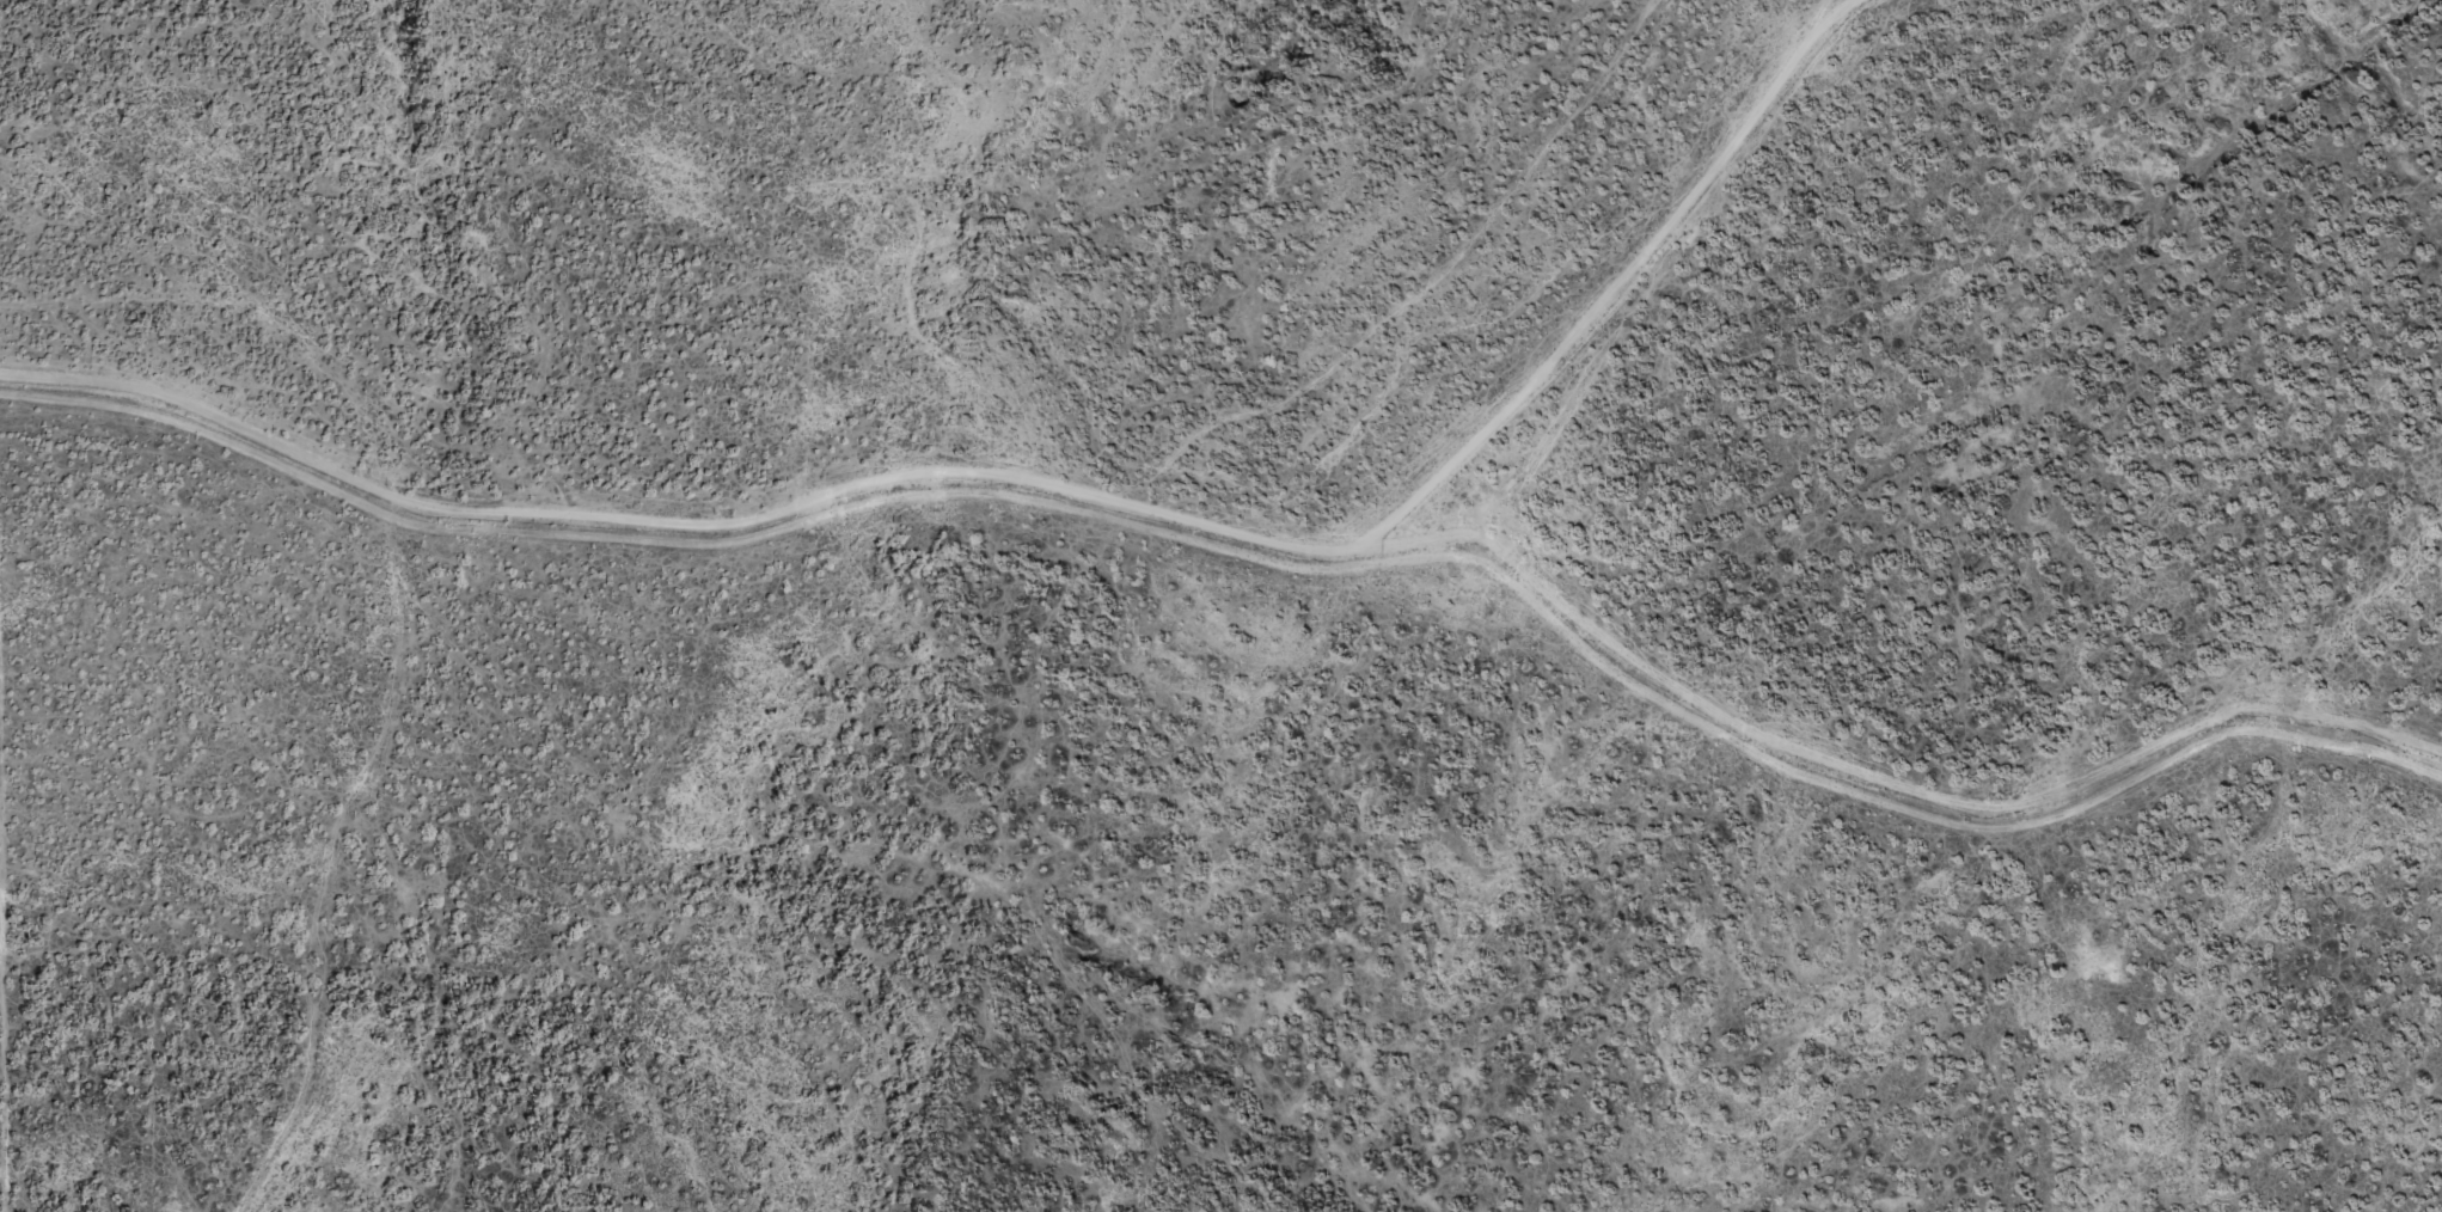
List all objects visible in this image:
road: (1636, 263)
road: (1237, 526)
road: (1932, 1003)

